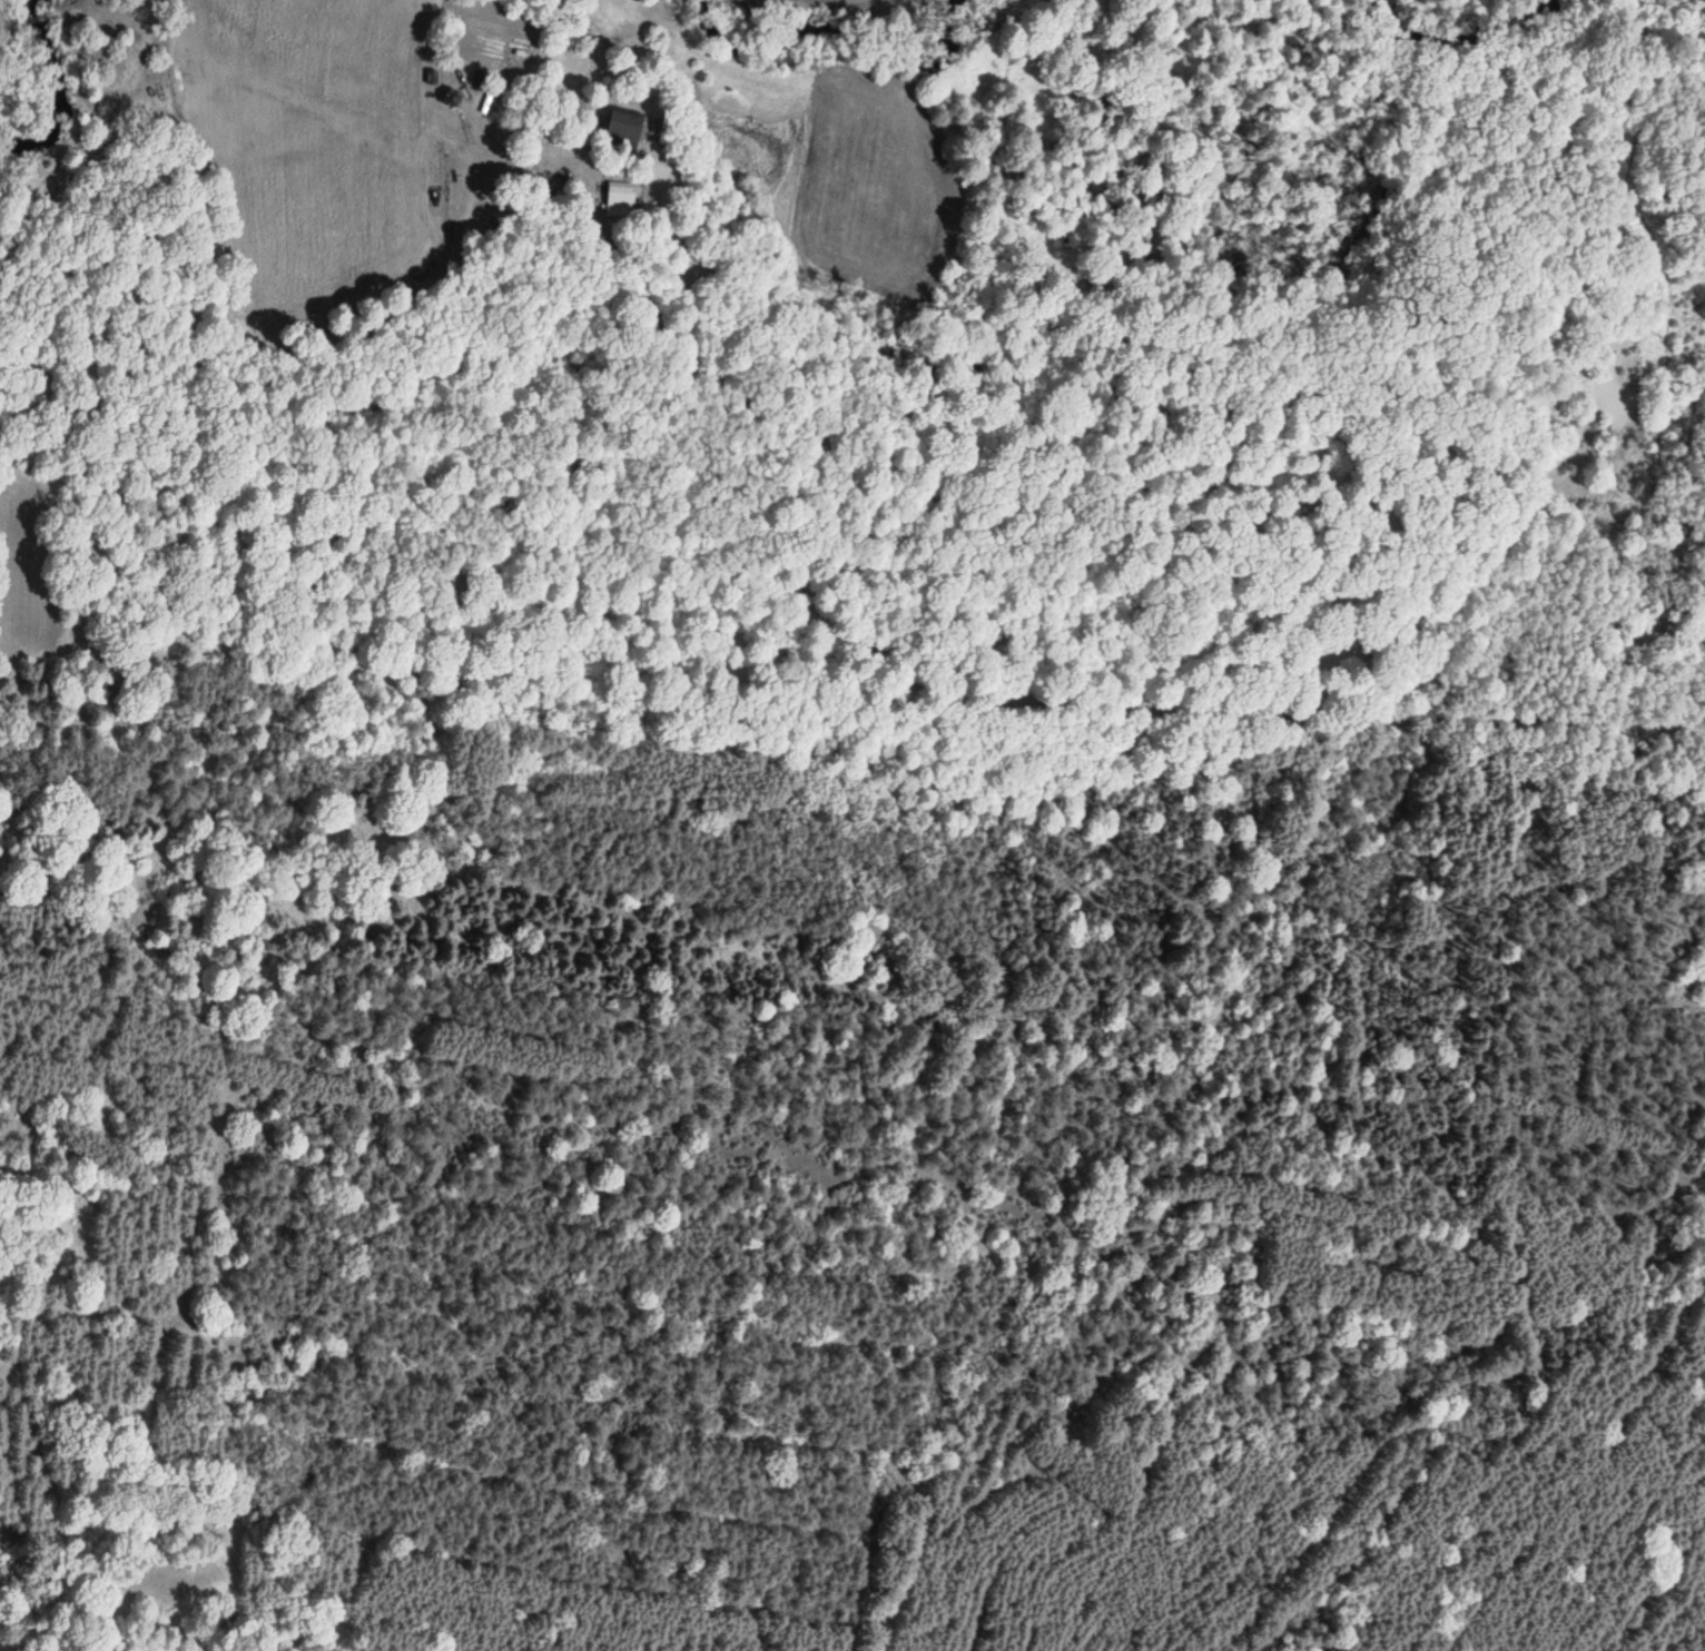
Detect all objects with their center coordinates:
river: (835, 31)
river: (1459, 37)
river: (61, 93)
building: (619, 125)
road: (1214, 332)

